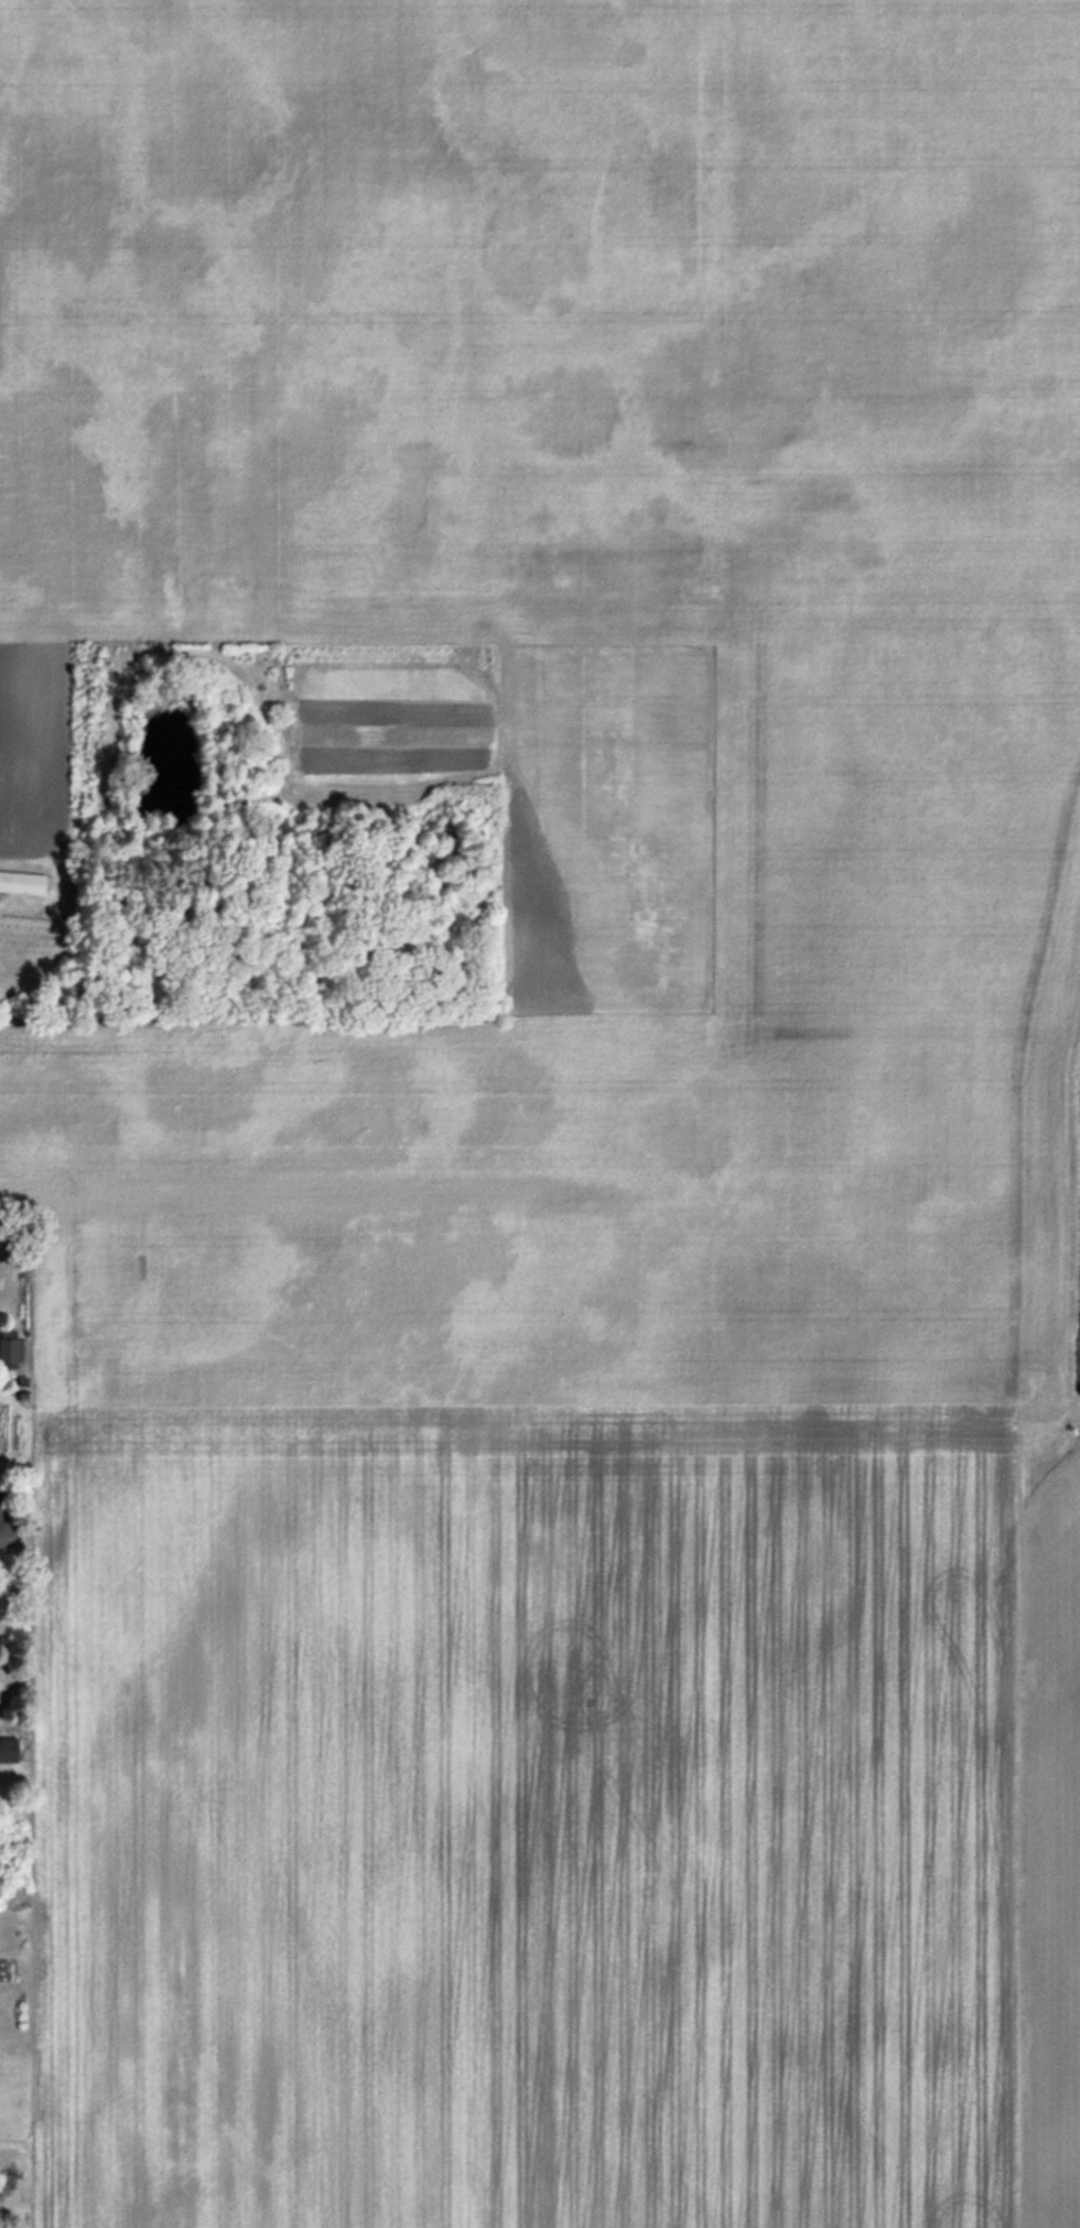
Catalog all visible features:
building: (21, 882)
building: (1059, 1293)
building: (9, 1346)
building: (7, 1750)

